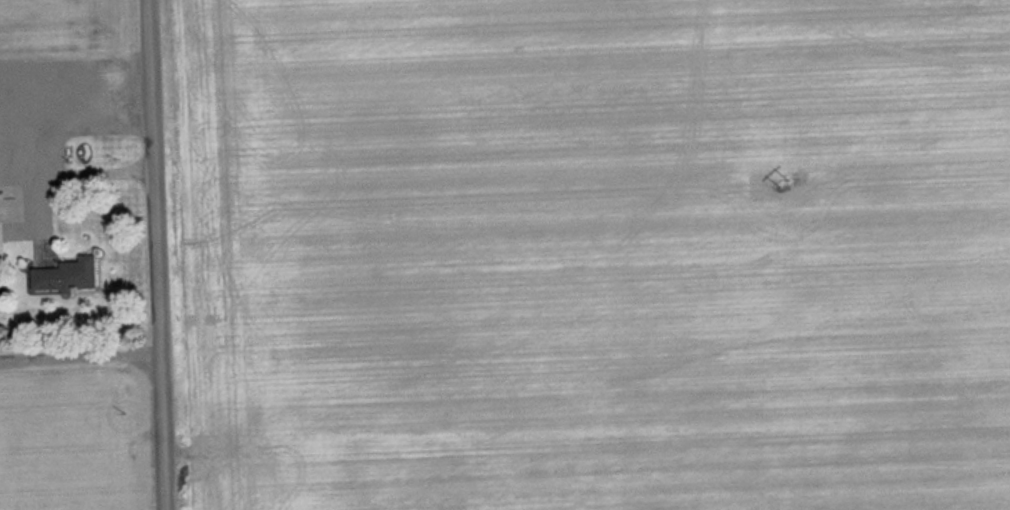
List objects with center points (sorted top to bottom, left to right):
power tower: (787, 187)
building: (1, 226)
road: (154, 255)
building: (72, 275)

